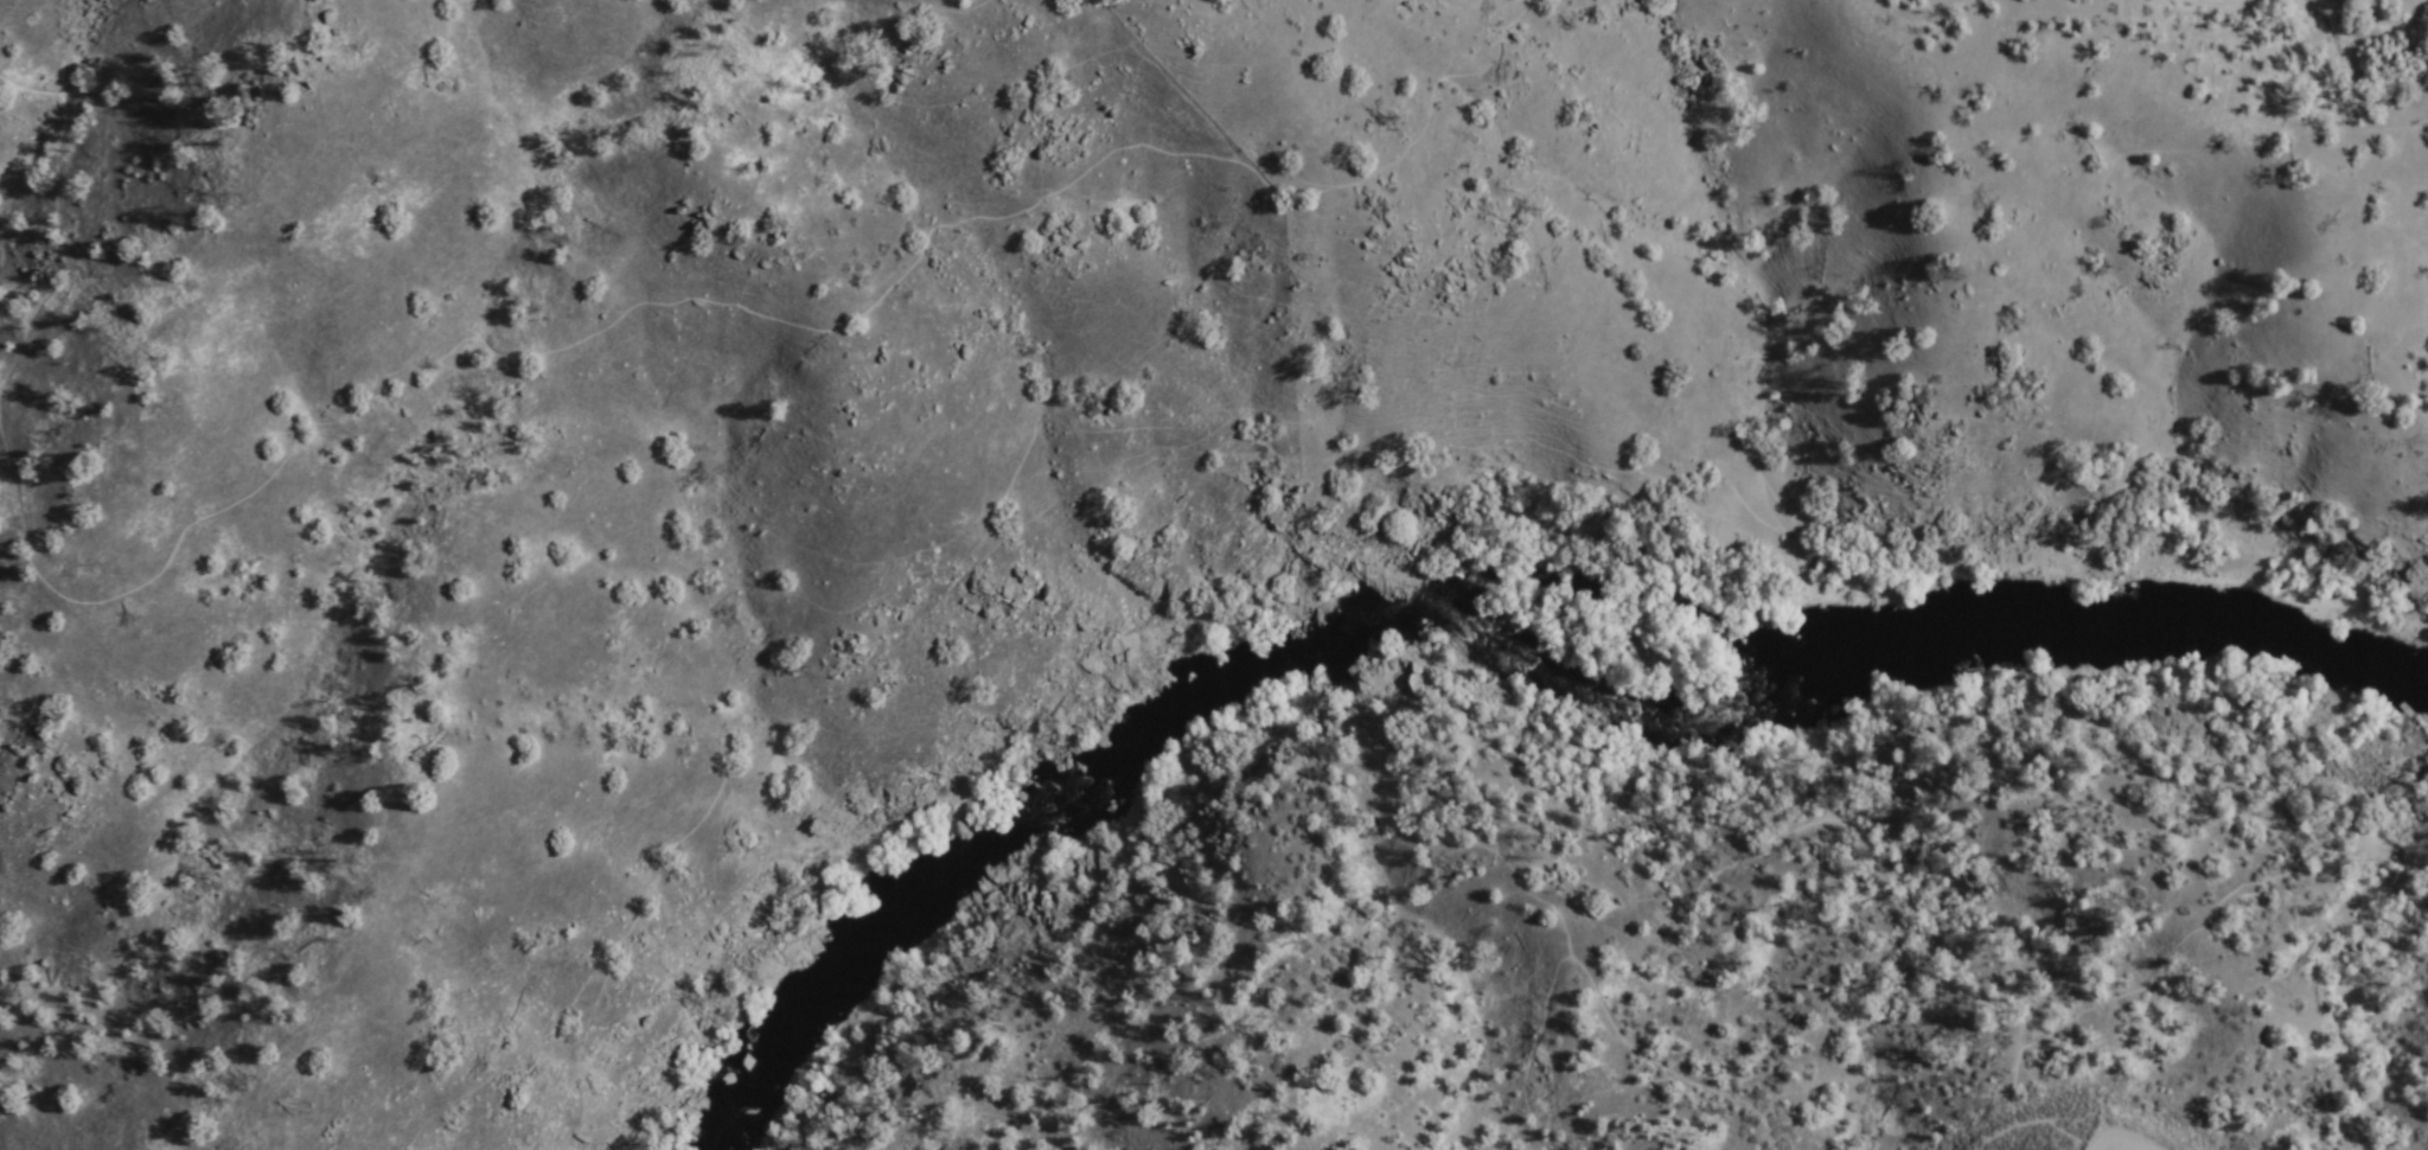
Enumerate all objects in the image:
road: (2349, 14)
road: (52, 215)
road: (728, 302)
river: (1493, 639)

